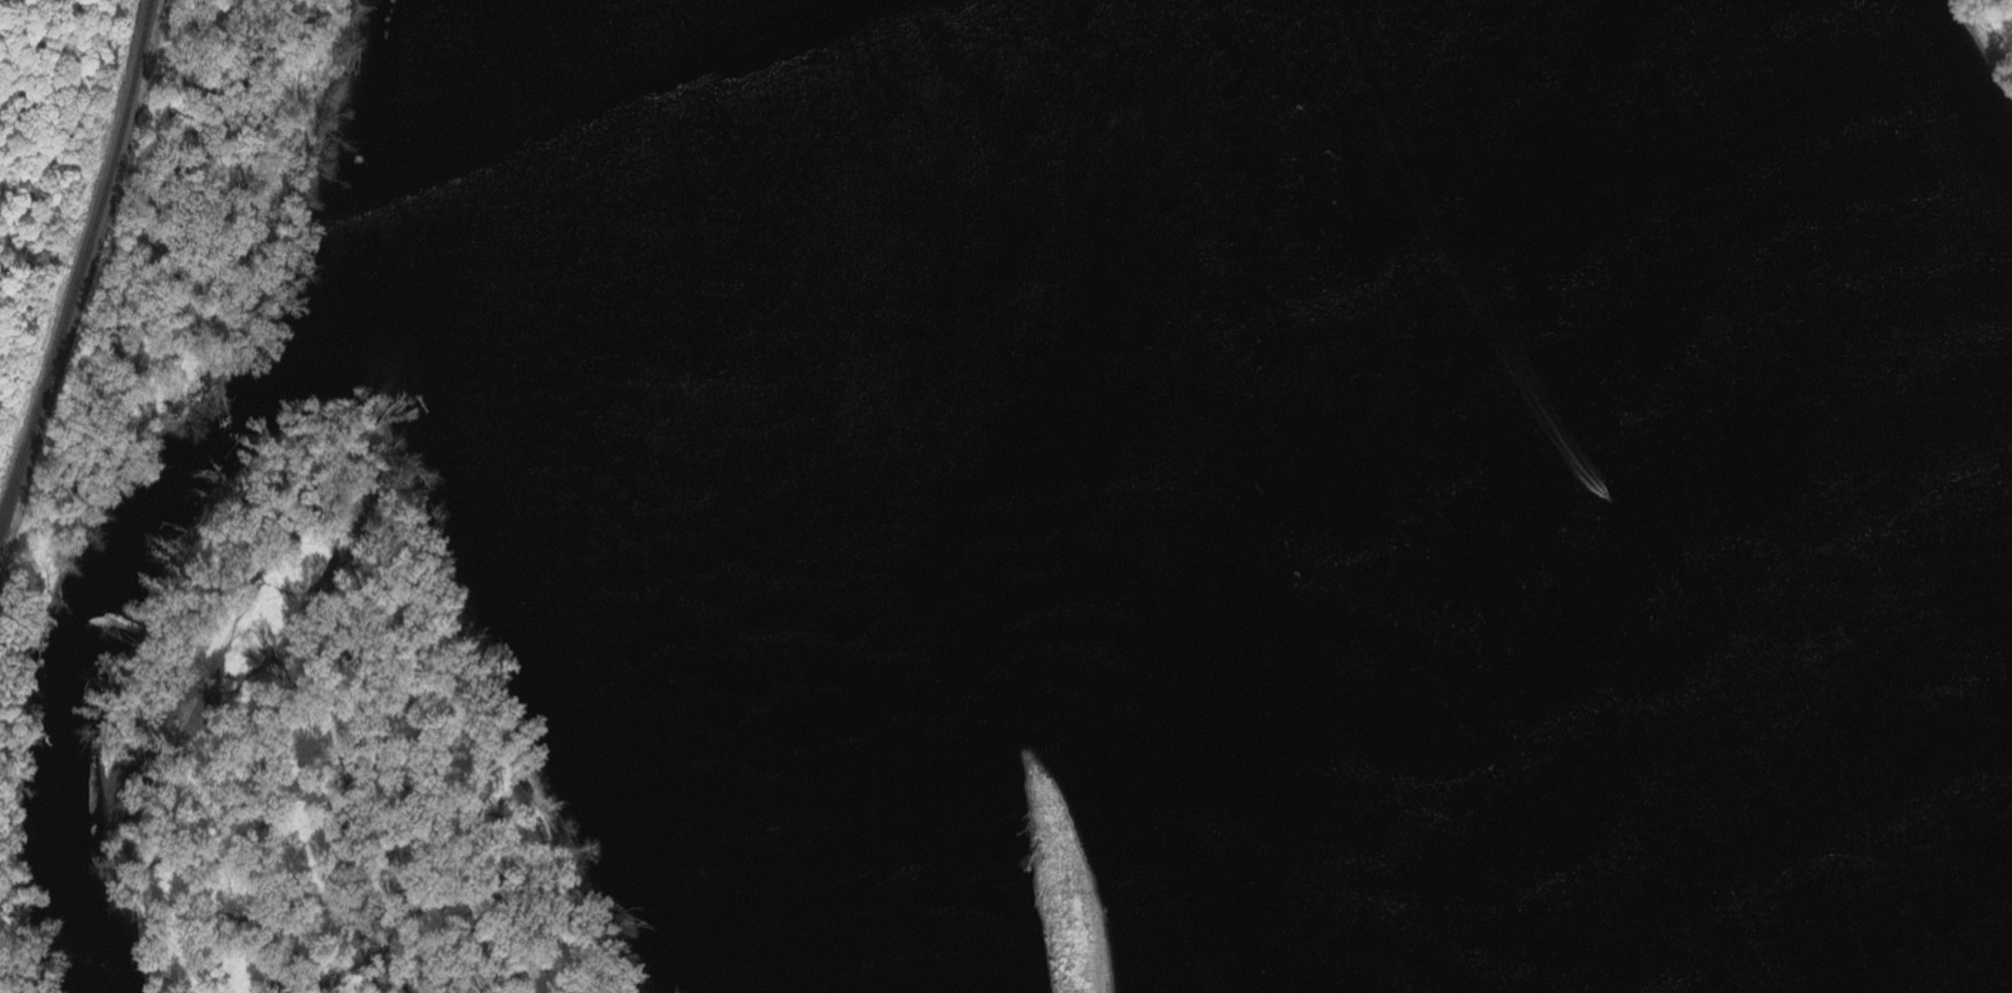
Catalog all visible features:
railway: (76, 266)
river: (1763, 393)
river: (89, 613)

